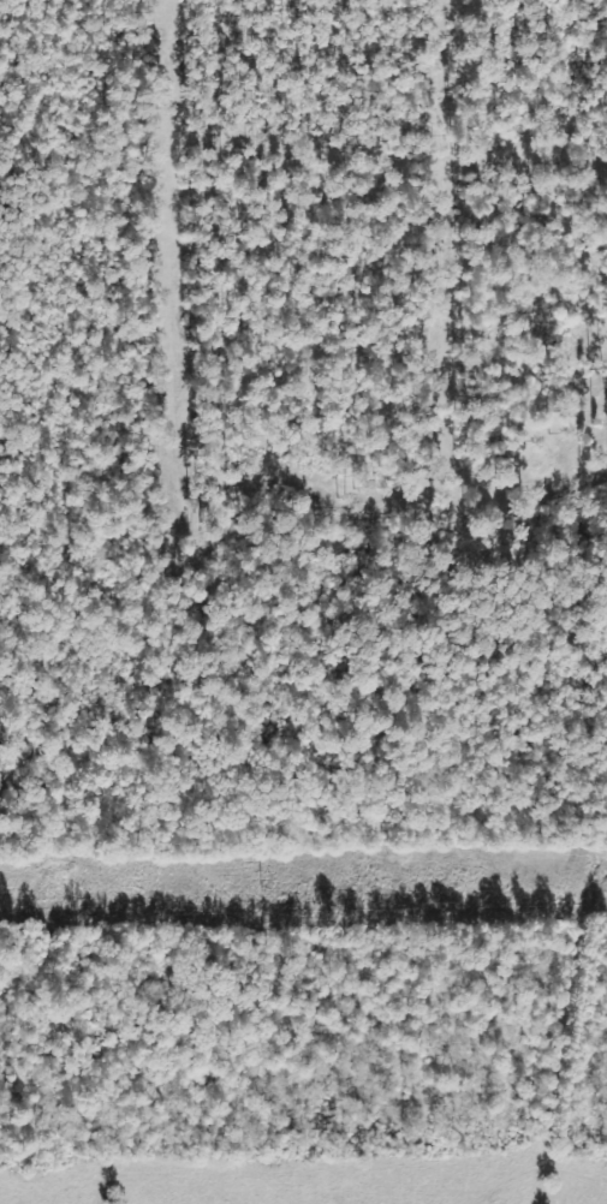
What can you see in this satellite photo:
power tower: (257, 886)

